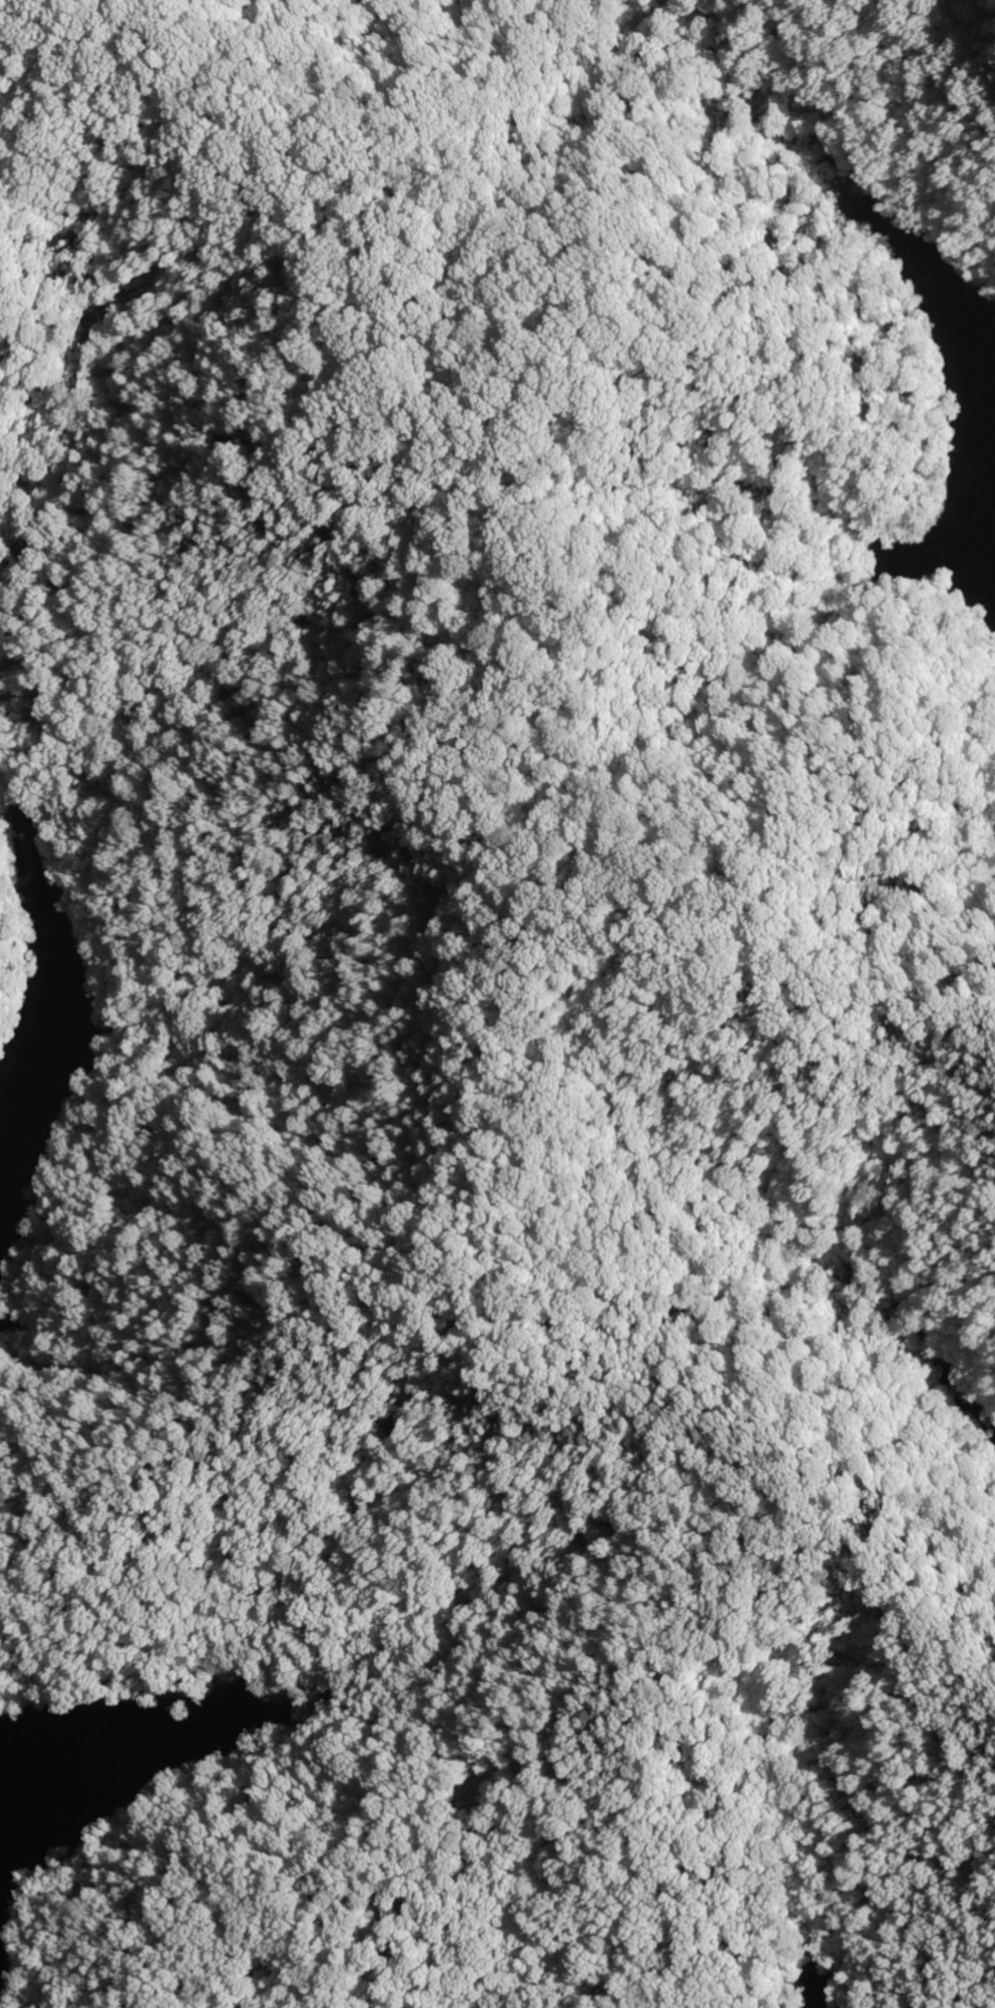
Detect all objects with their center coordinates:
park: (500, 59)

